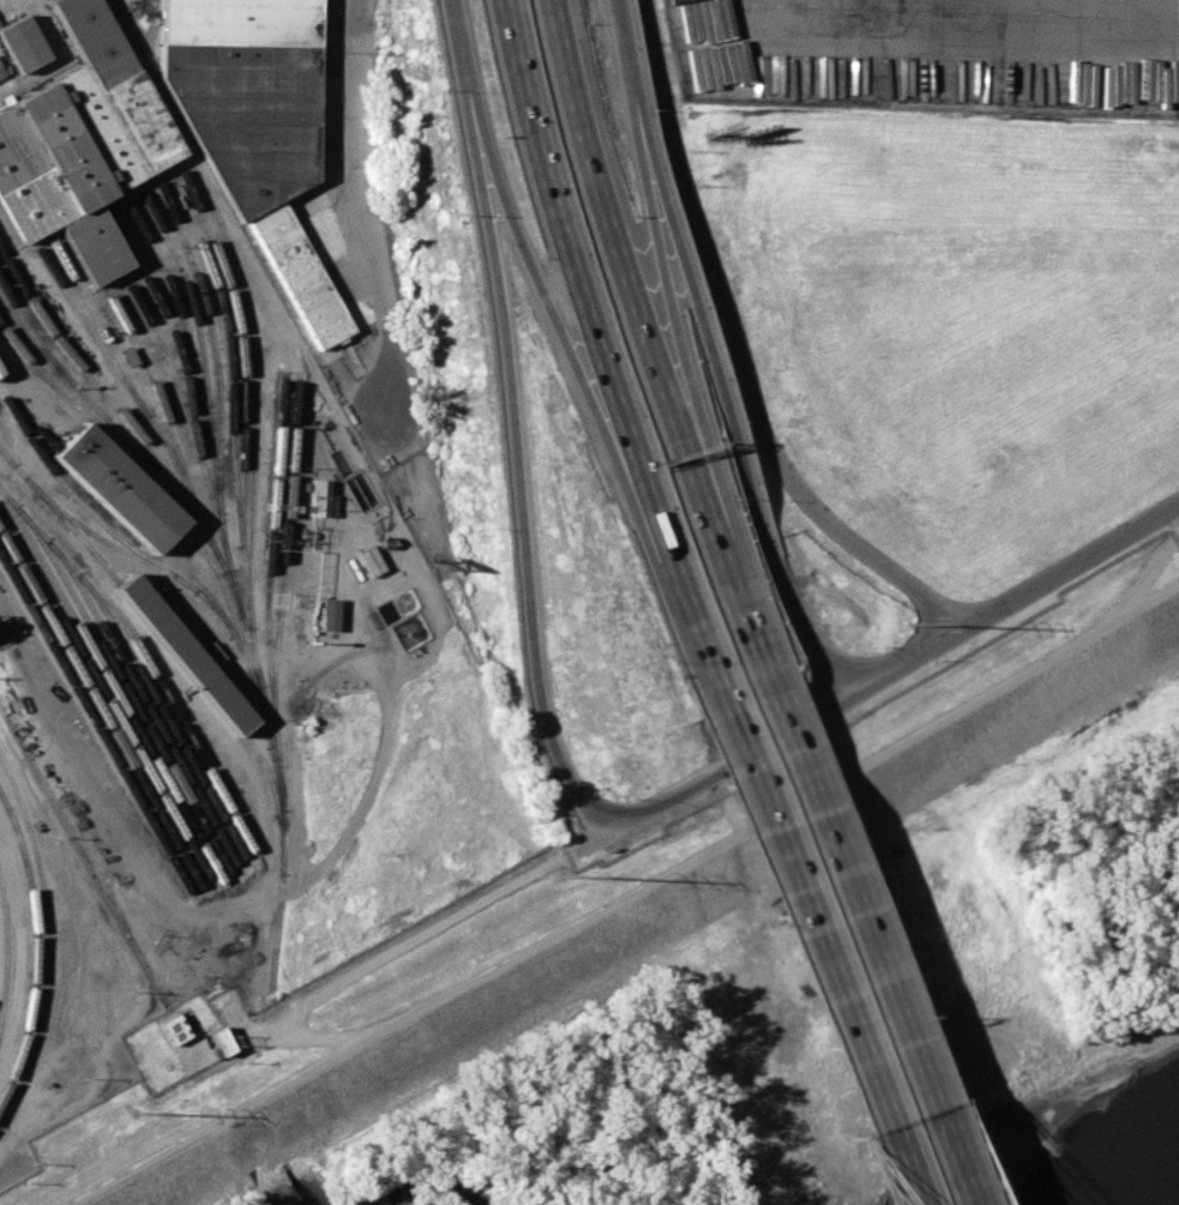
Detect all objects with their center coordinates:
railway: (158, 1)
road: (933, 11)
road: (455, 35)
building: (20, 43)
road: (693, 46)
building: (4, 70)
railway: (130, 79)
railway: (106, 85)
railway: (106, 128)
building: (255, 131)
railway: (90, 135)
building: (79, 144)
railway: (71, 146)
railway: (193, 164)
road: (359, 167)
railway: (73, 186)
railway: (23, 188)
railway: (54, 195)
railway: (16, 210)
road: (613, 239)
road: (651, 245)
road: (543, 303)
railway: (179, 314)
railway: (20, 318)
railway: (95, 324)
railway: (199, 341)
road: (601, 341)
road: (734, 354)
road: (703, 357)
railway: (168, 361)
railway: (185, 376)
railway: (70, 382)
railway: (94, 385)
railway: (241, 387)
railway: (230, 391)
railway: (155, 393)
railway: (137, 400)
railway: (26, 418)
railway: (66, 418)
railway: (219, 424)
railway: (6, 456)
road: (516, 459)
railway: (144, 460)
railway: (128, 478)
building: (118, 488)
railway: (108, 499)
building: (324, 500)
railway: (80, 505)
railway: (281, 550)
road: (729, 567)
railway: (249, 577)
railway: (182, 583)
railway: (200, 588)
railway: (227, 602)
road: (1006, 604)
building: (327, 614)
railway: (168, 649)
building: (179, 649)
railway: (142, 655)
railway: (110, 683)
railway: (125, 687)
railway: (270, 689)
railway: (104, 692)
railway: (143, 700)
railway: (100, 707)
railway: (164, 715)
railway: (94, 724)
road: (716, 771)
road: (778, 812)
railway: (44, 897)
road: (860, 933)
road: (805, 942)
railway: (35, 950)
road: (389, 951)
railway: (7, 954)
building: (172, 1029)
building: (218, 1041)
road: (221, 1117)

